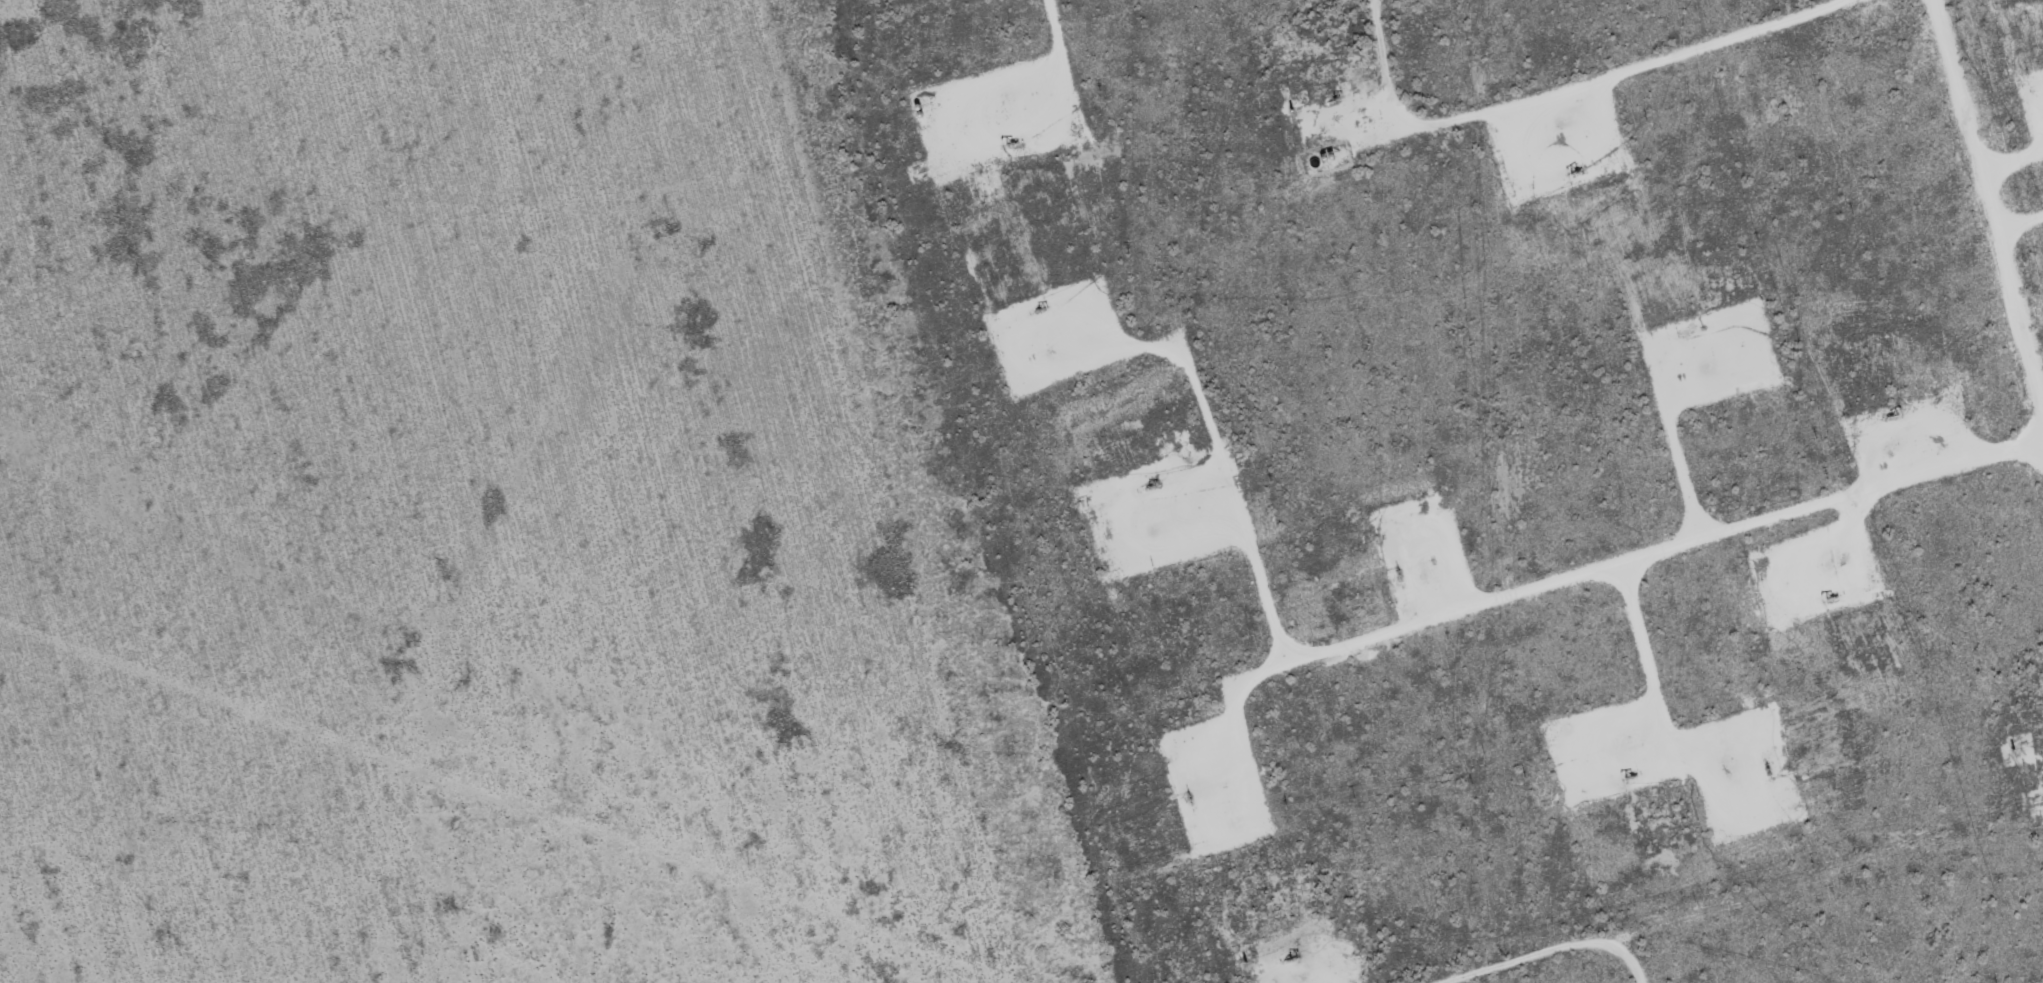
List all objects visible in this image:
road: (1990, 205)

